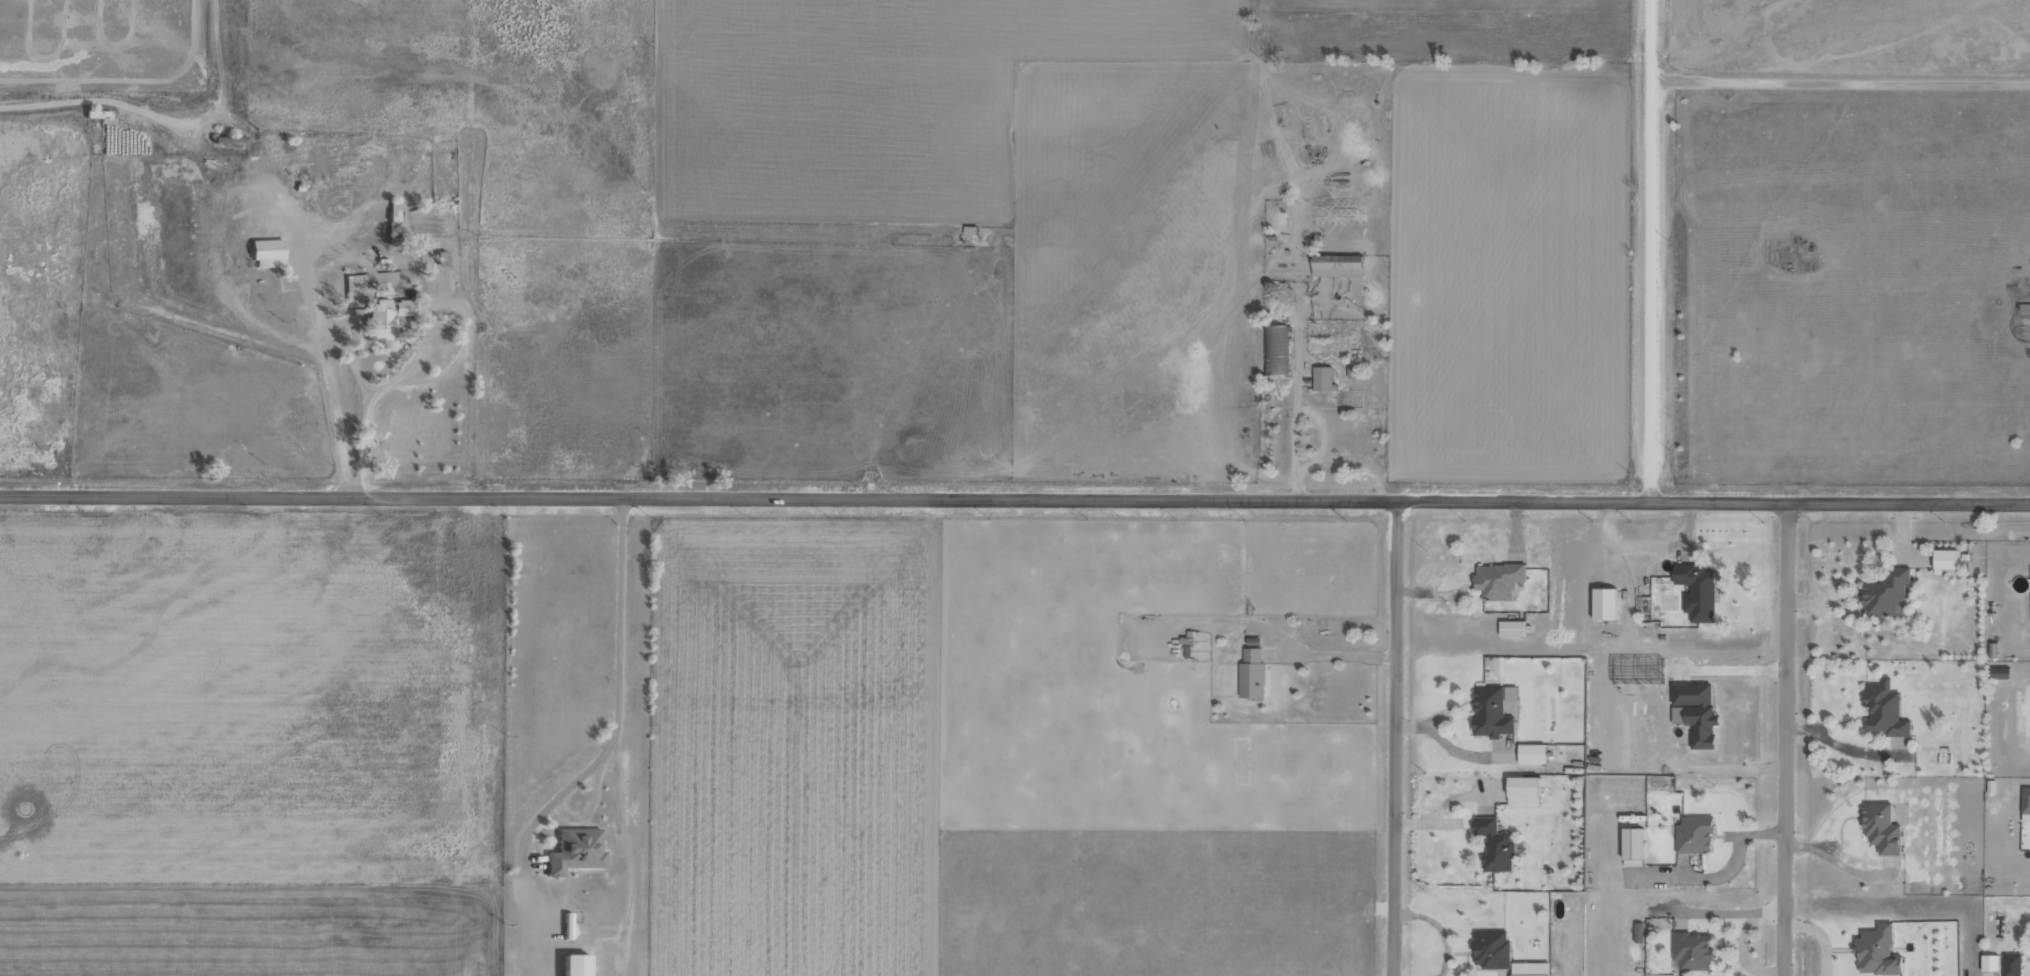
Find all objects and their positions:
building: (393, 210)
road: (1649, 250)
building: (266, 253)
building: (1336, 265)
building: (385, 317)
building: (1275, 349)
building: (1322, 378)
road: (1015, 500)
building: (1944, 560)
building: (1497, 580)
building: (1696, 592)
building: (1884, 592)
building: (1603, 603)
building: (1511, 628)
building: (1251, 673)
building: (2000, 673)
building: (1510, 694)
building: (1884, 710)
building: (1696, 712)
building: (1490, 713)
road: (1393, 739)
road: (1784, 740)
building: (1531, 754)
building: (1523, 790)
building: (2025, 804)
building: (1881, 828)
building: (1693, 835)
building: (1494, 844)
building: (1632, 844)
building: (574, 851)
building: (1491, 949)
building: (1692, 951)
building: (1876, 952)
building: (1989, 962)
building: (573, 965)
building: (2011, 965)
building: (1529, 969)

